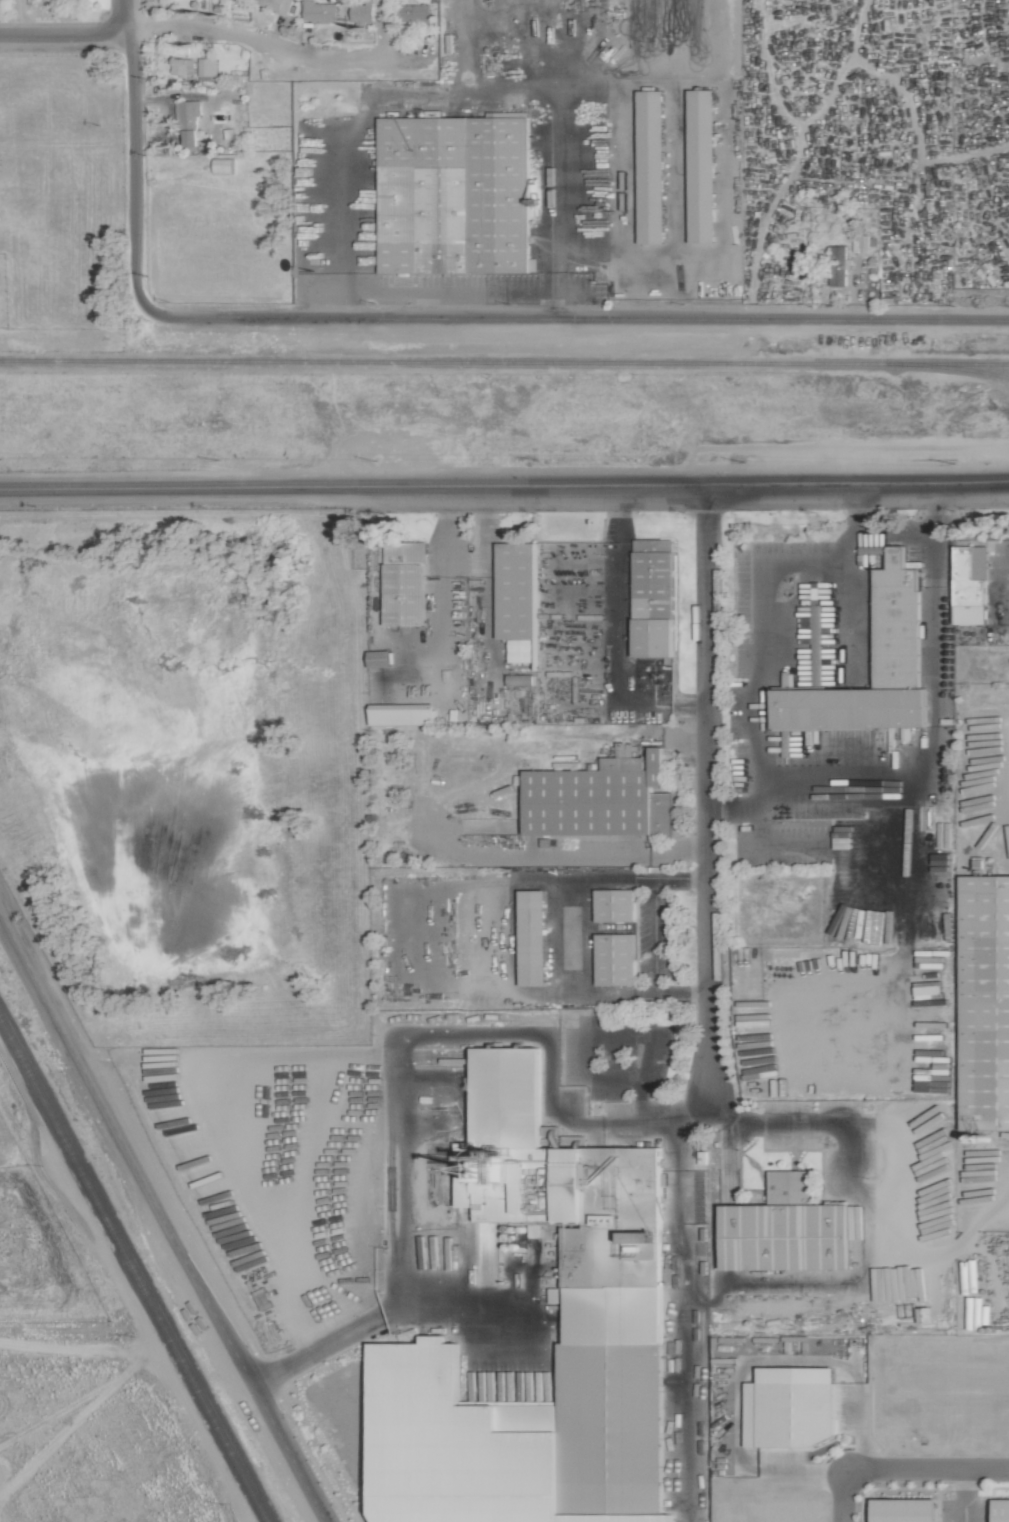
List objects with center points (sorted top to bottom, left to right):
building: (275, 5)
building: (318, 11)
building: (361, 11)
building: (413, 13)
road: (126, 15)
road: (22, 17)
road: (64, 33)
road: (266, 47)
building: (181, 67)
building: (206, 67)
road: (456, 91)
building: (186, 121)
building: (221, 166)
building: (700, 166)
building: (650, 167)
road: (131, 171)
building: (452, 195)
building: (837, 265)
road: (449, 291)
road: (345, 305)
road: (425, 305)
road: (554, 305)
road: (574, 320)
railway: (504, 363)
railway: (949, 369)
road: (504, 484)
road: (931, 510)
road: (892, 534)
road: (847, 578)
building: (403, 583)
building: (969, 584)
building: (515, 590)
building: (652, 598)
building: (896, 627)
building: (378, 658)
building: (400, 714)
road: (814, 770)
road: (706, 781)
building: (598, 798)
building: (841, 855)
building: (613, 904)
road: (501, 936)
road: (654, 936)
building: (531, 937)
road: (559, 937)
building: (615, 959)
building: (984, 1002)
road: (691, 1100)
road: (399, 1108)
road: (647, 1120)
road: (161, 1217)
building: (784, 1229)
railway: (133, 1270)
building: (560, 1311)
road: (676, 1321)
building: (789, 1407)
road: (928, 1471)
road: (838, 1498)
road: (541, 1507)
building: (903, 1510)
building: (1000, 1510)

